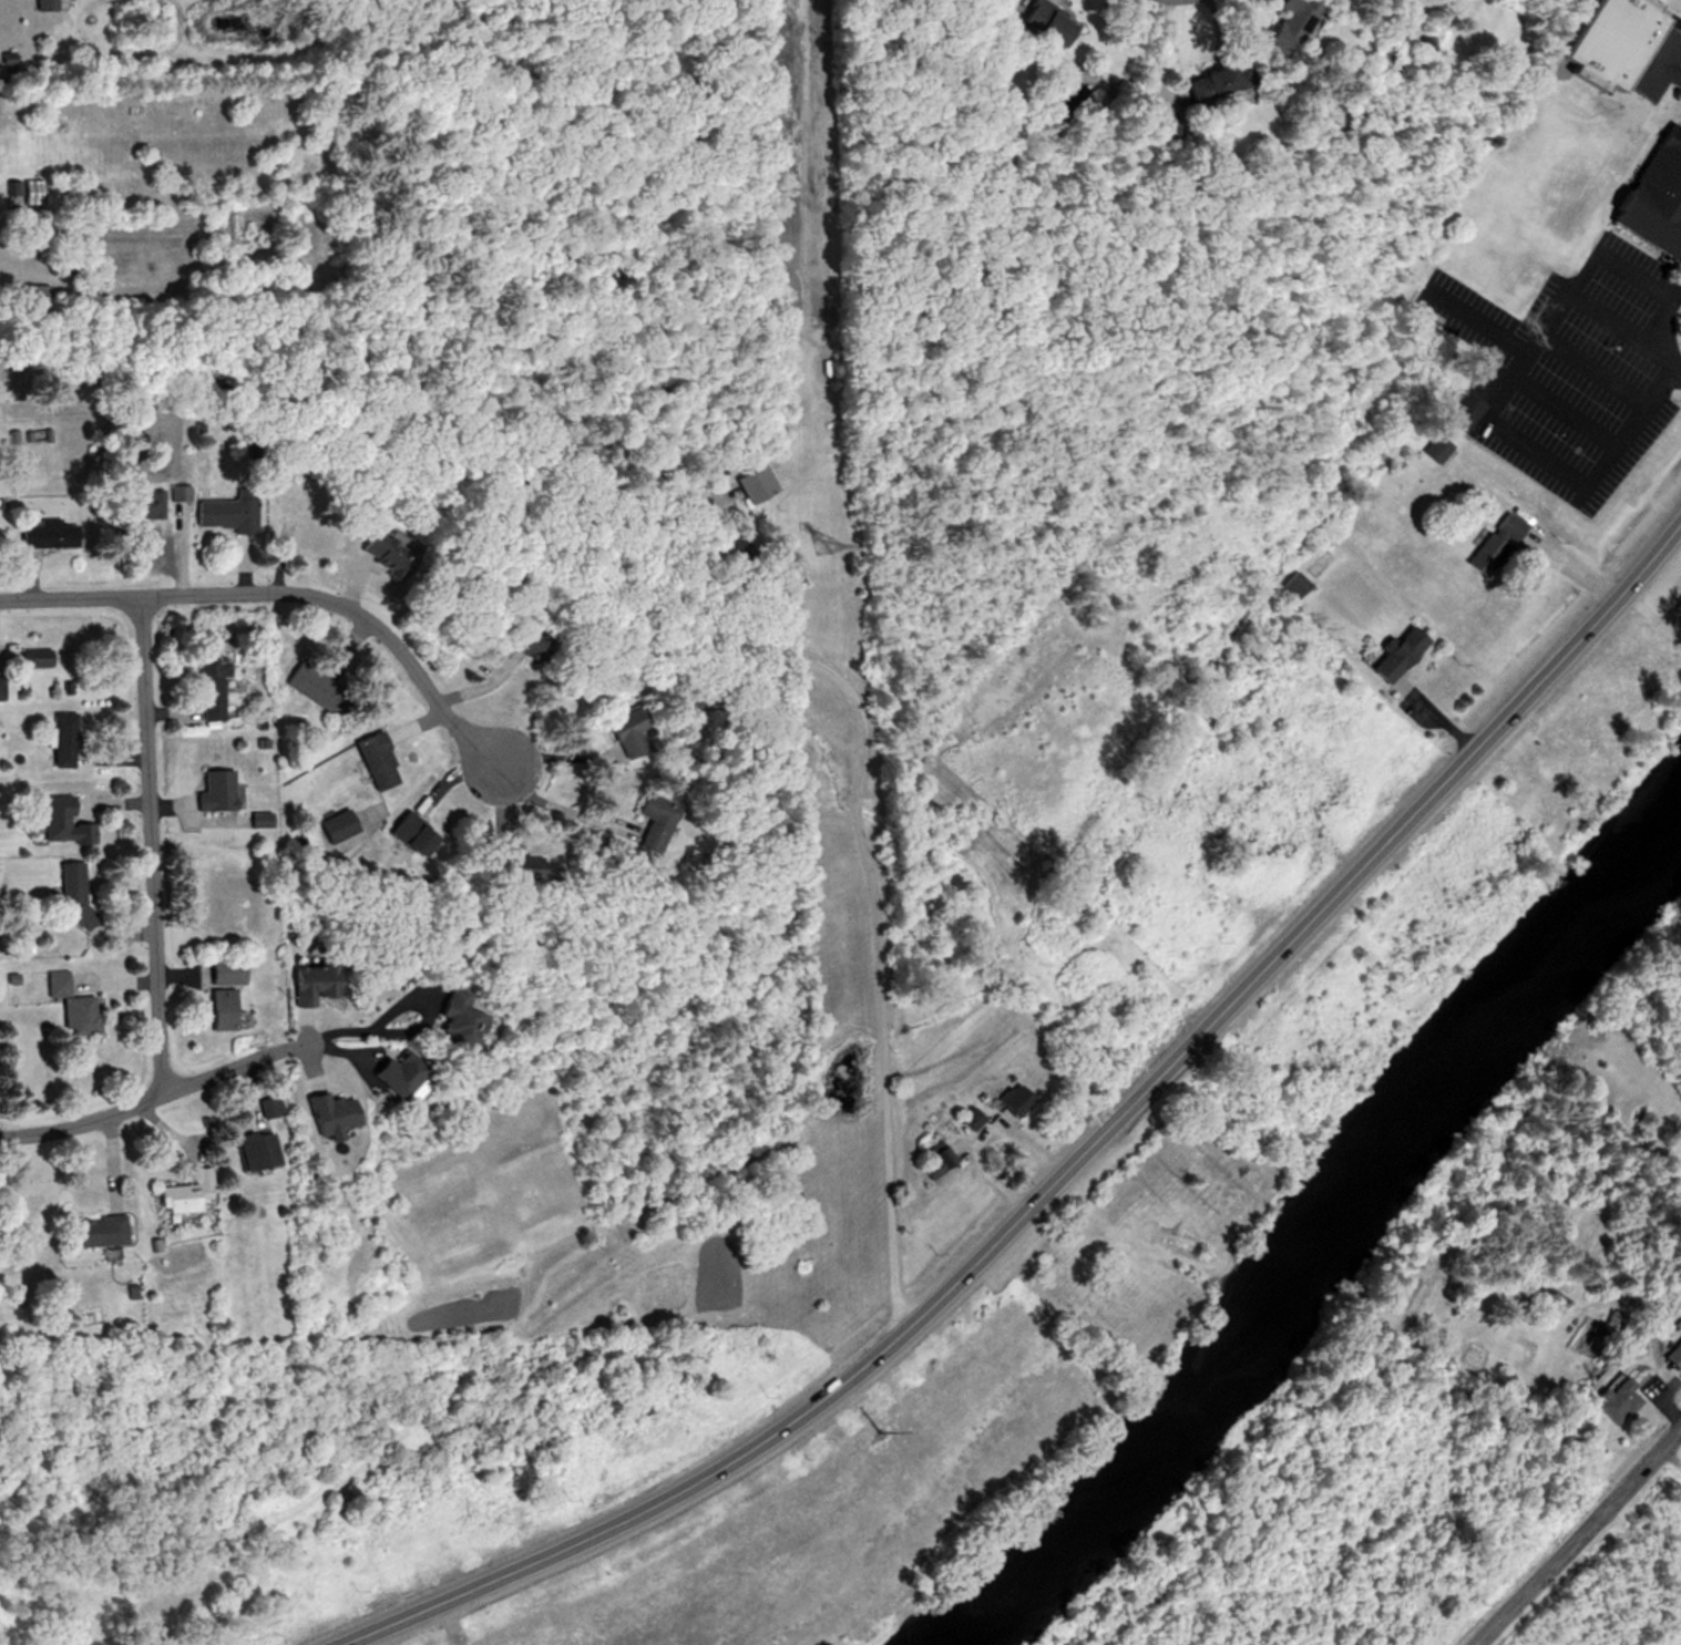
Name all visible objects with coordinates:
building: (41, 4)
building: (1038, 21)
building: (1284, 24)
building: (1619, 49)
building: (1212, 79)
building: (21, 191)
building: (1650, 196)
building: (32, 291)
road: (1665, 325)
building: (1457, 411)
building: (1432, 450)
building: (749, 484)
building: (175, 493)
building: (137, 504)
building: (222, 511)
building: (41, 533)
building: (1487, 545)
building: (382, 547)
power tower: (822, 547)
building: (1316, 557)
building: (1291, 584)
road: (287, 587)
building: (529, 648)
building: (1390, 654)
building: (34, 657)
building: (308, 685)
building: (207, 689)
building: (617, 731)
building: (60, 738)
building: (372, 760)
building: (212, 791)
road: (555, 805)
building: (256, 820)
building: (61, 821)
building: (642, 821)
building: (331, 825)
building: (403, 832)
road: (145, 845)
building: (510, 862)
building: (70, 892)
road: (877, 928)
building: (219, 969)
building: (312, 981)
building: (70, 1004)
building: (218, 1008)
building: (445, 1020)
road: (365, 1025)
building: (390, 1073)
road: (152, 1094)
building: (1011, 1098)
building: (266, 1109)
building: (968, 1118)
building: (254, 1150)
road: (1066, 1160)
building: (936, 1161)
building: (184, 1194)
river: (1315, 1219)
building: (90, 1231)
building: (1670, 1354)
building: (1611, 1399)
power tower: (878, 1431)
road: (1574, 1531)

